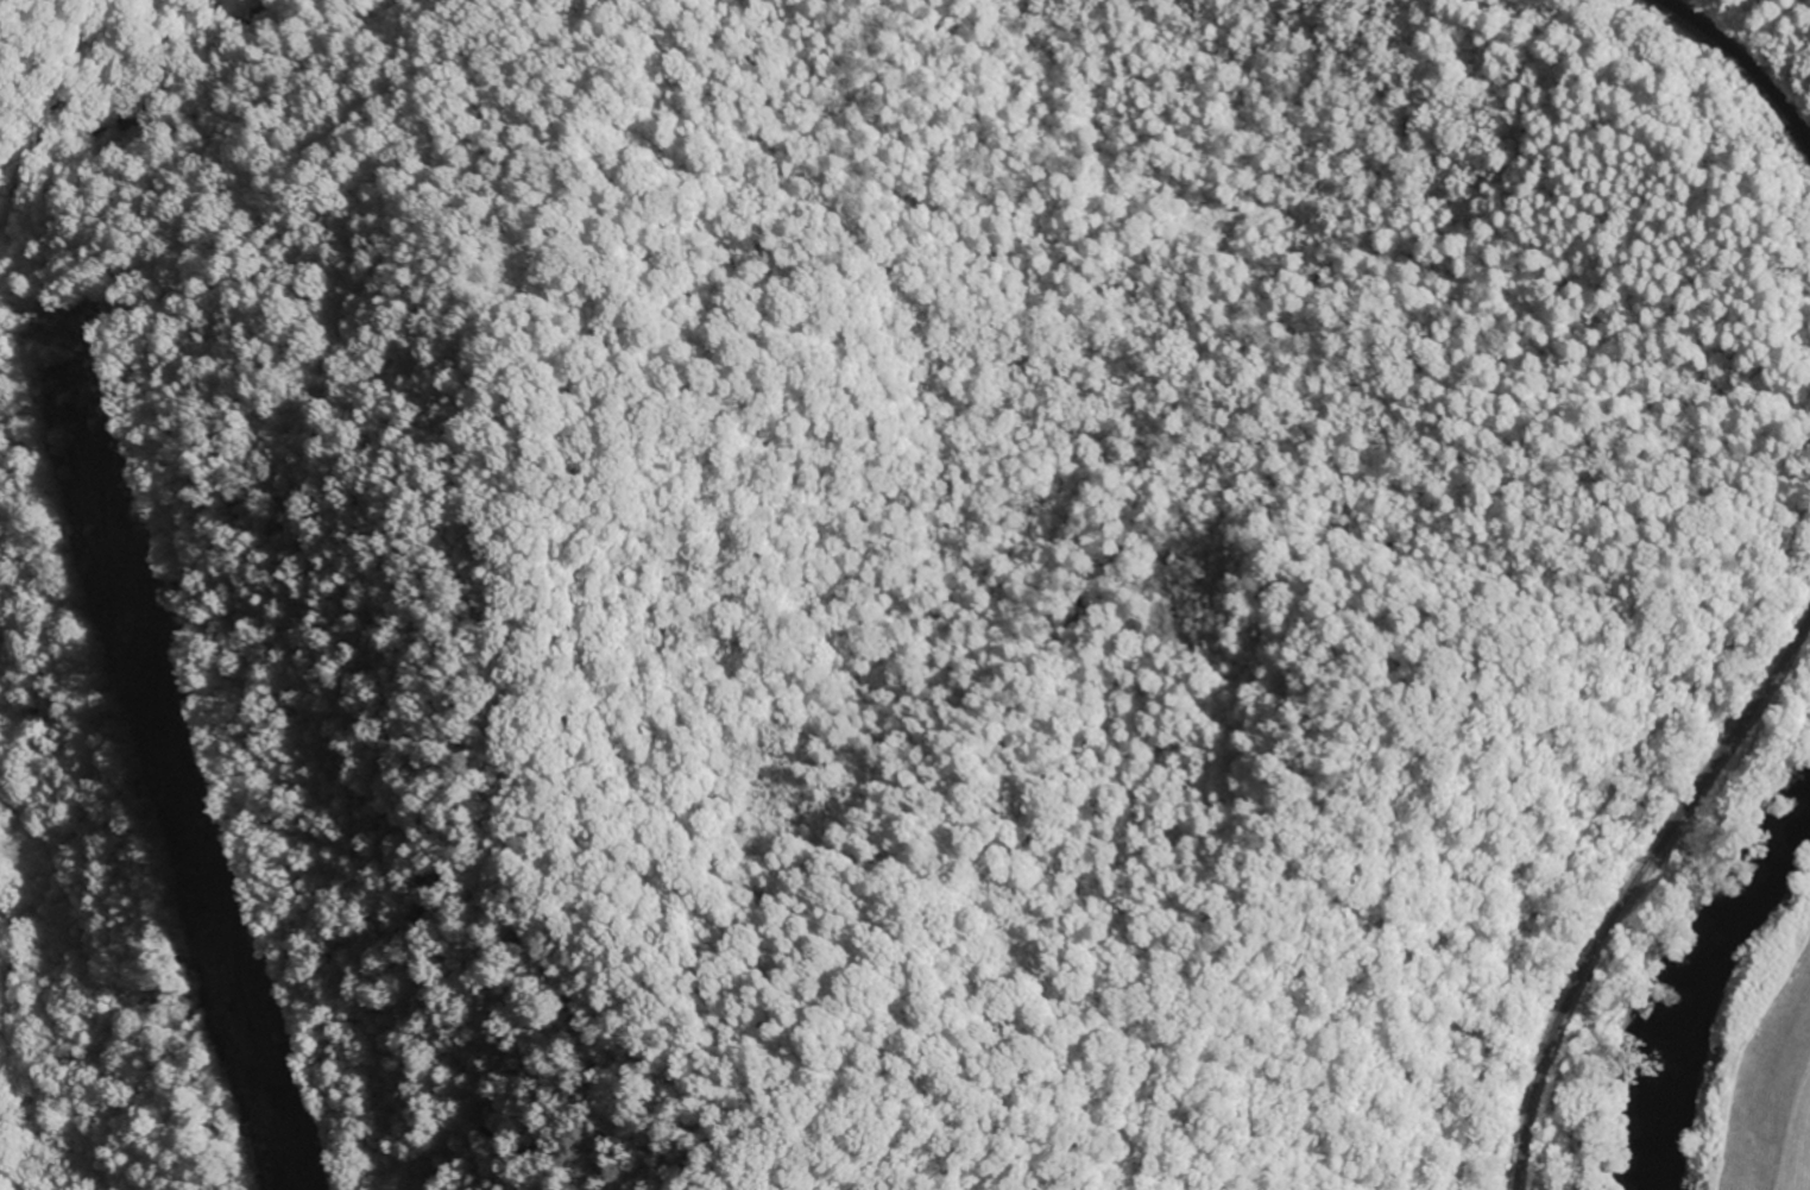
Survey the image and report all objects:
railway: (1743, 63)
railway: (1632, 887)
river: (1690, 991)

